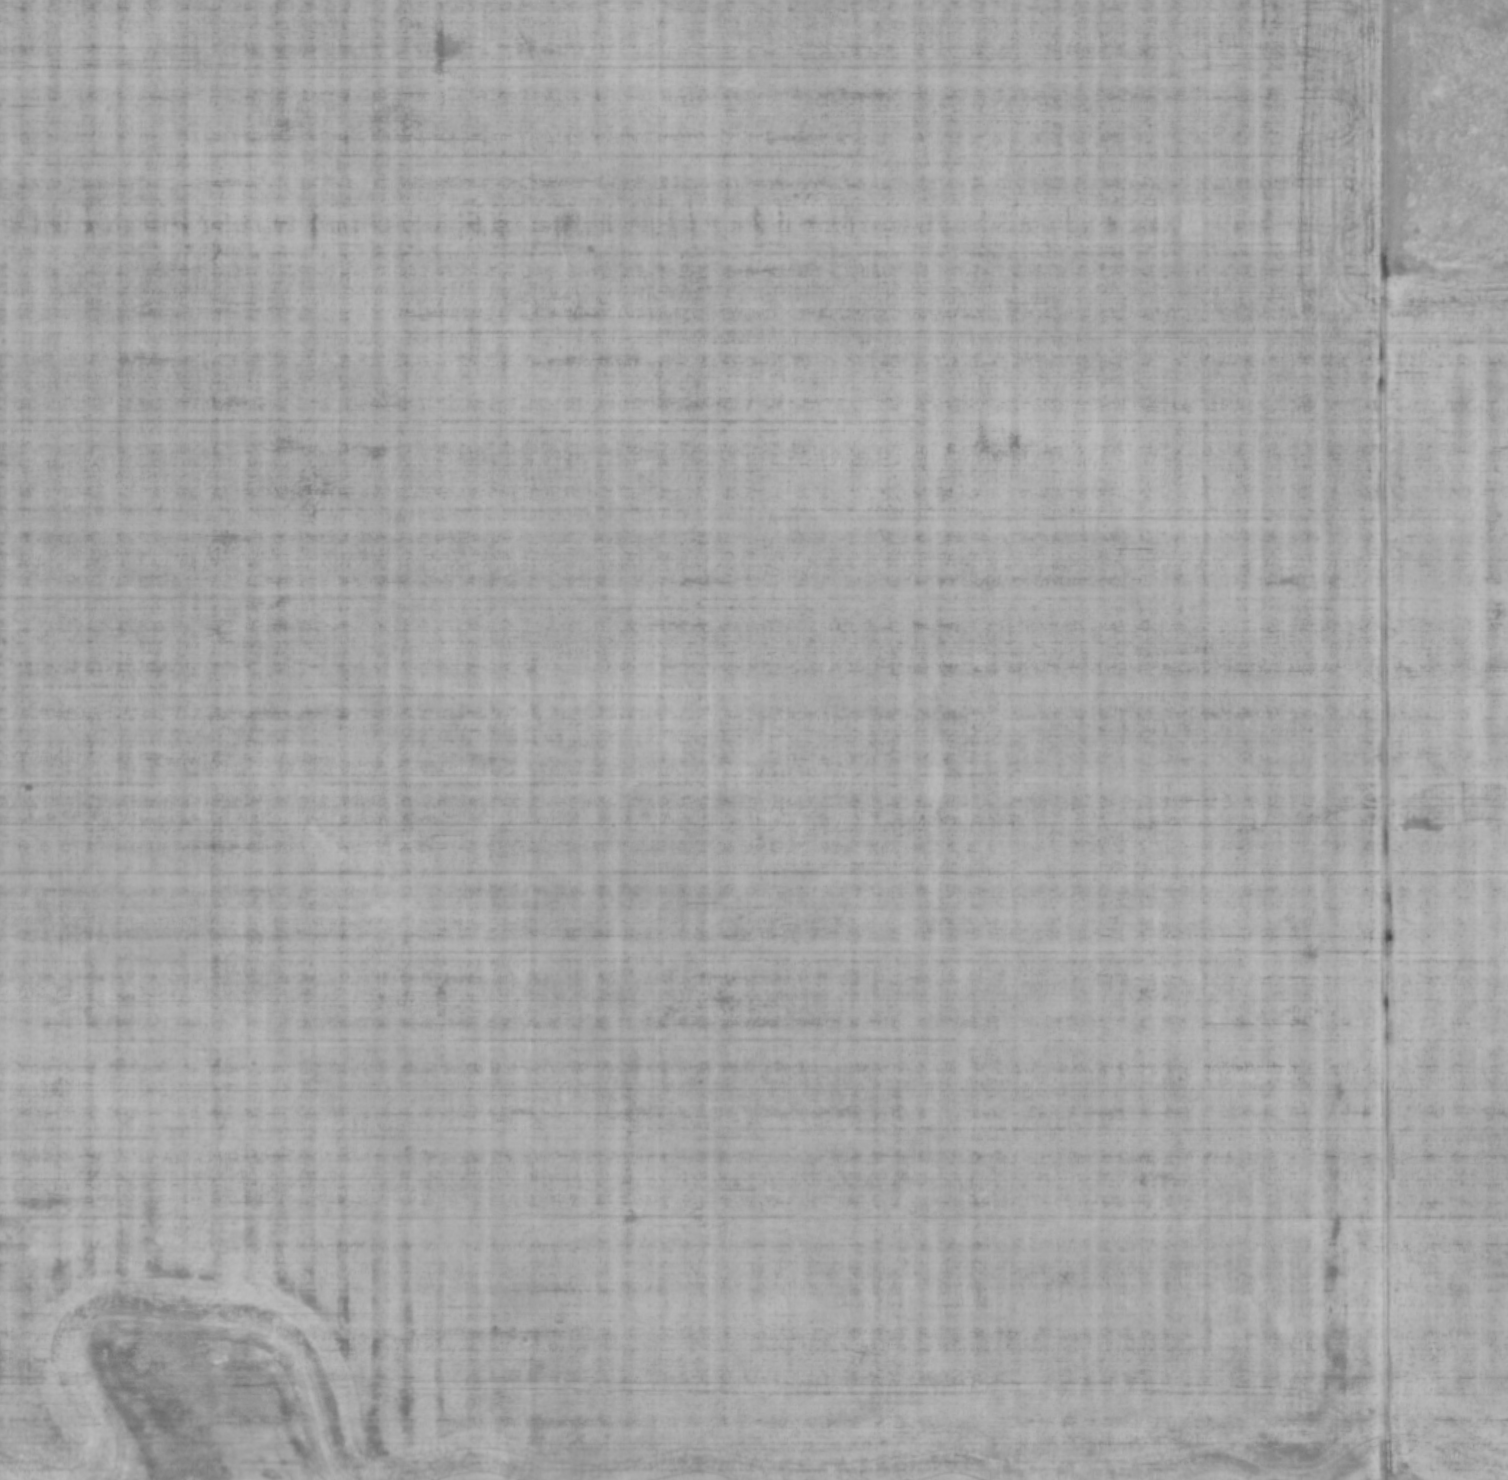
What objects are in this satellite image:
road: (1384, 739)

